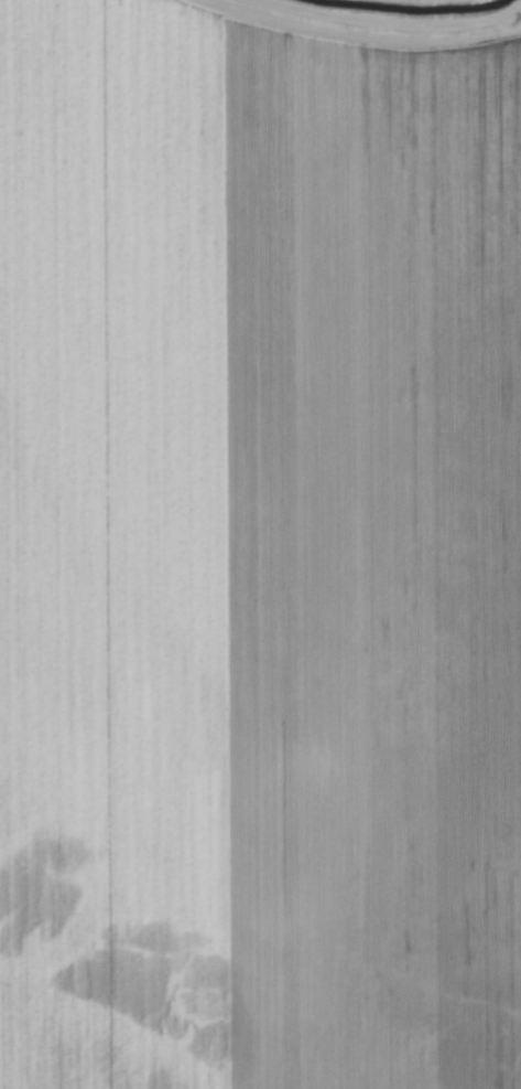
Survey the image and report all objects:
road: (399, 17)

